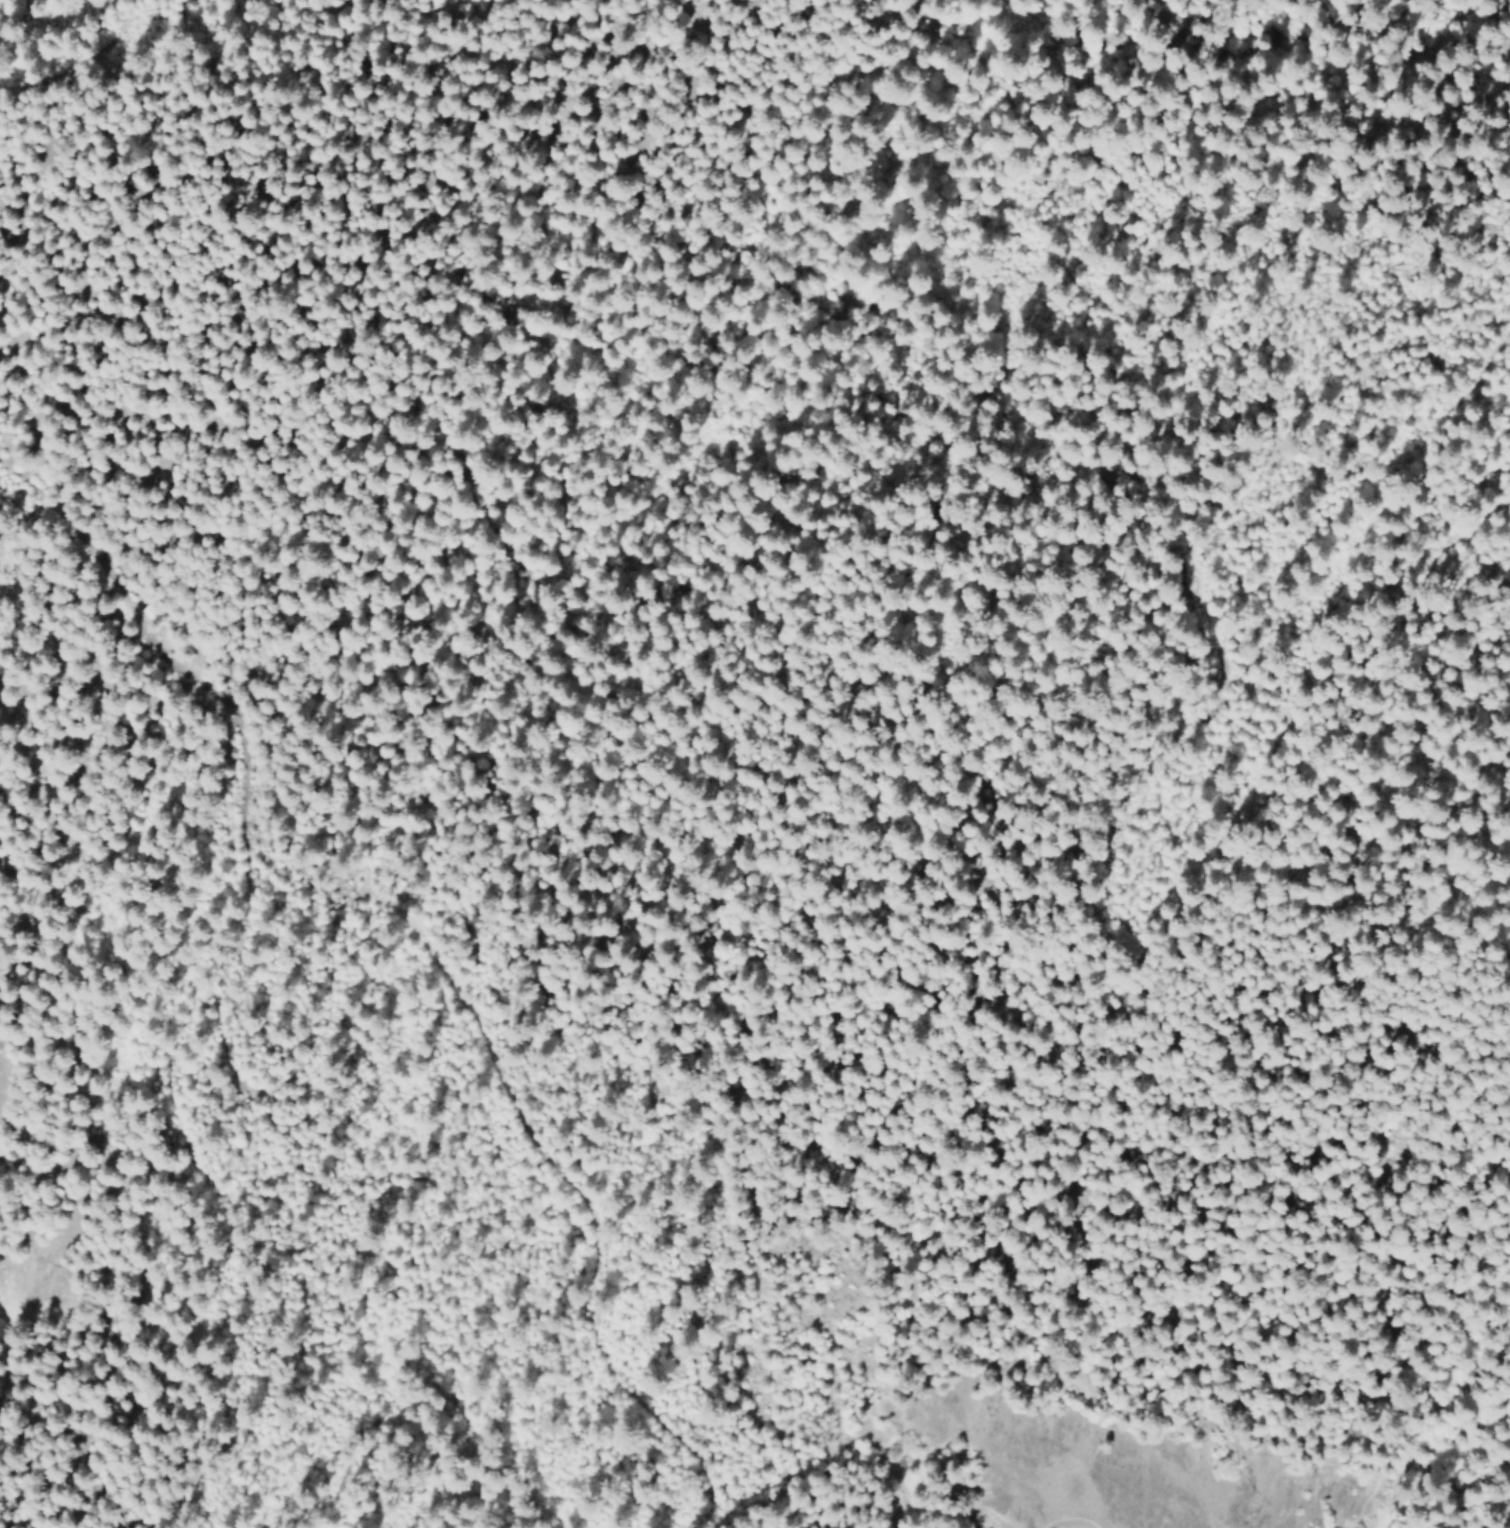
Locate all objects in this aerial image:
road: (25, 1421)
road: (1425, 1454)
road: (985, 1516)

